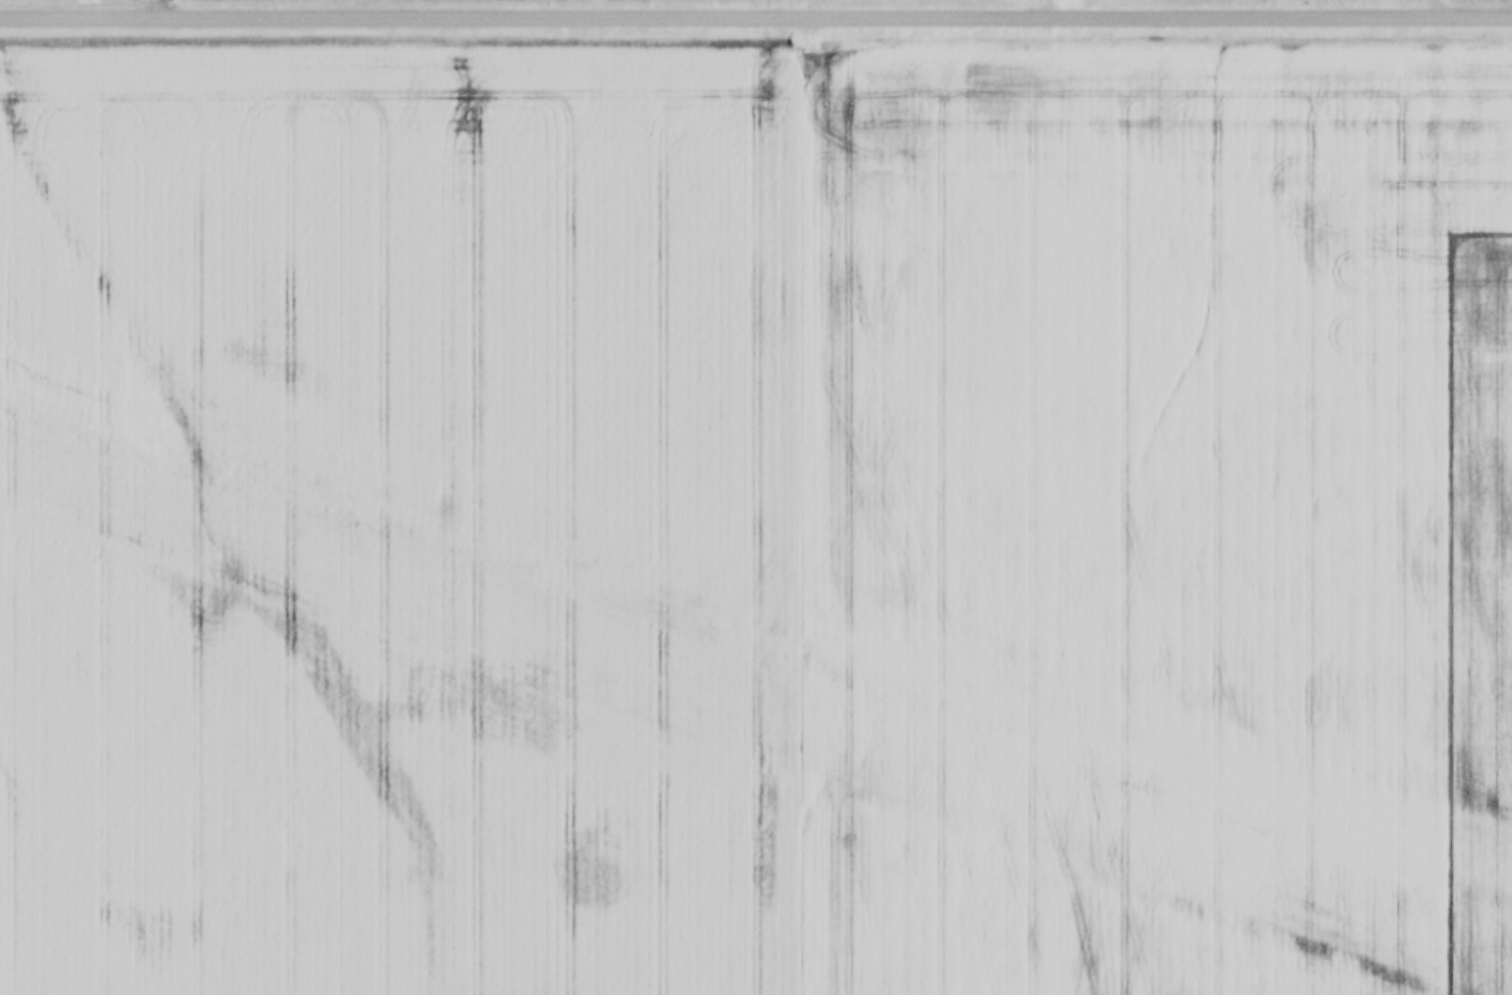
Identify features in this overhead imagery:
park: (1450, 128)

